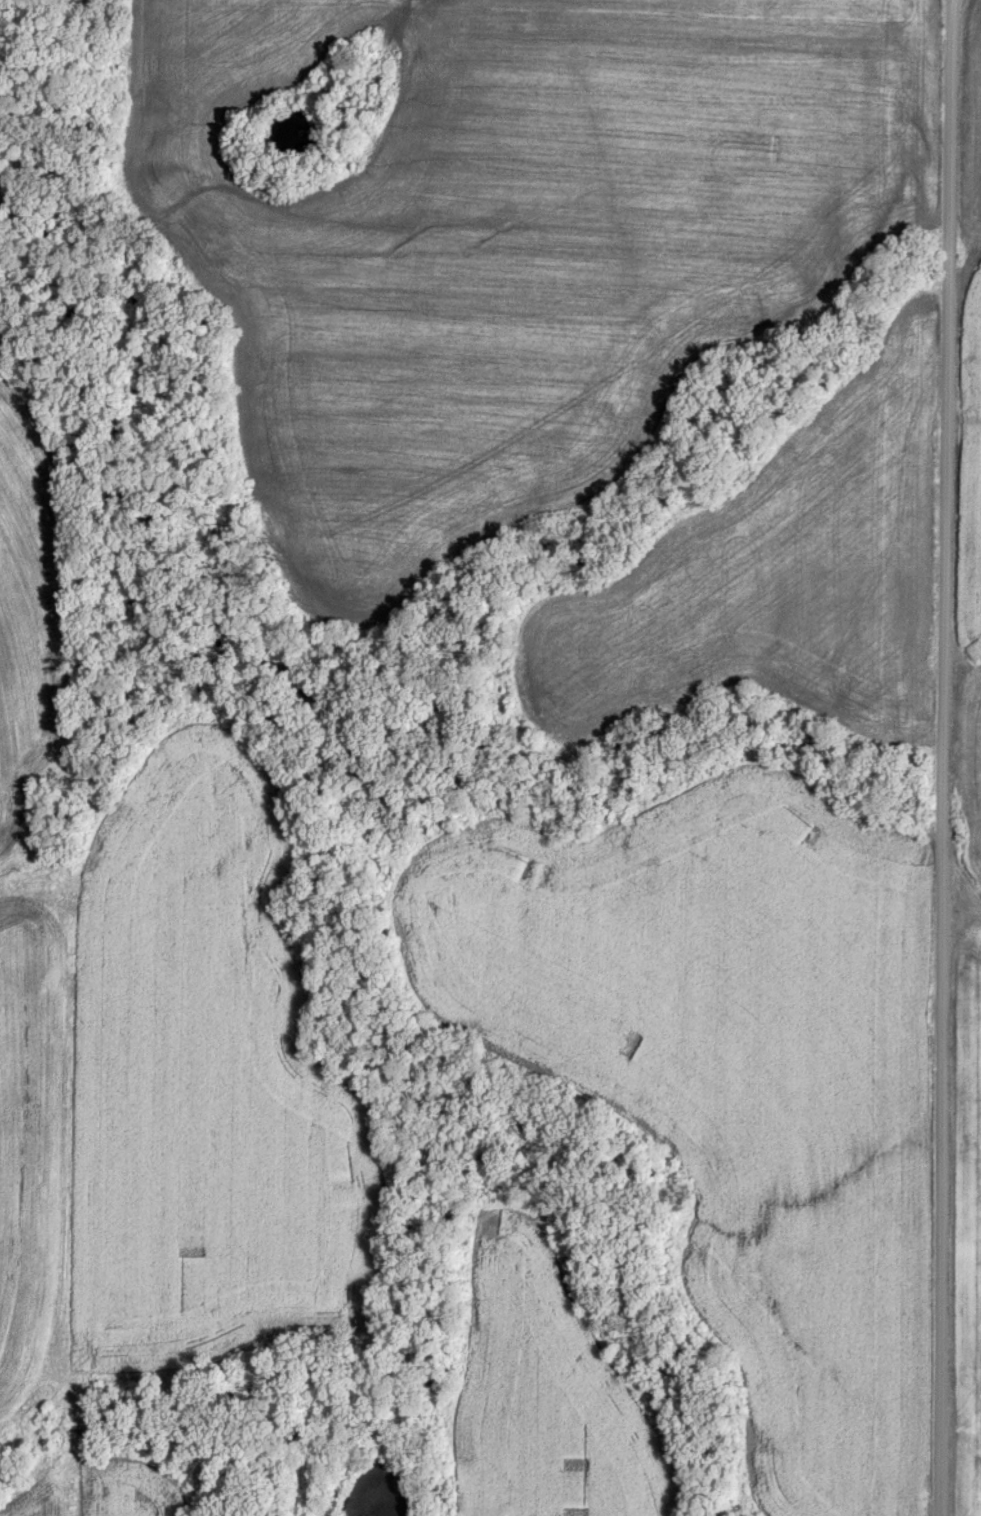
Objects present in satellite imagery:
road: (942, 757)

